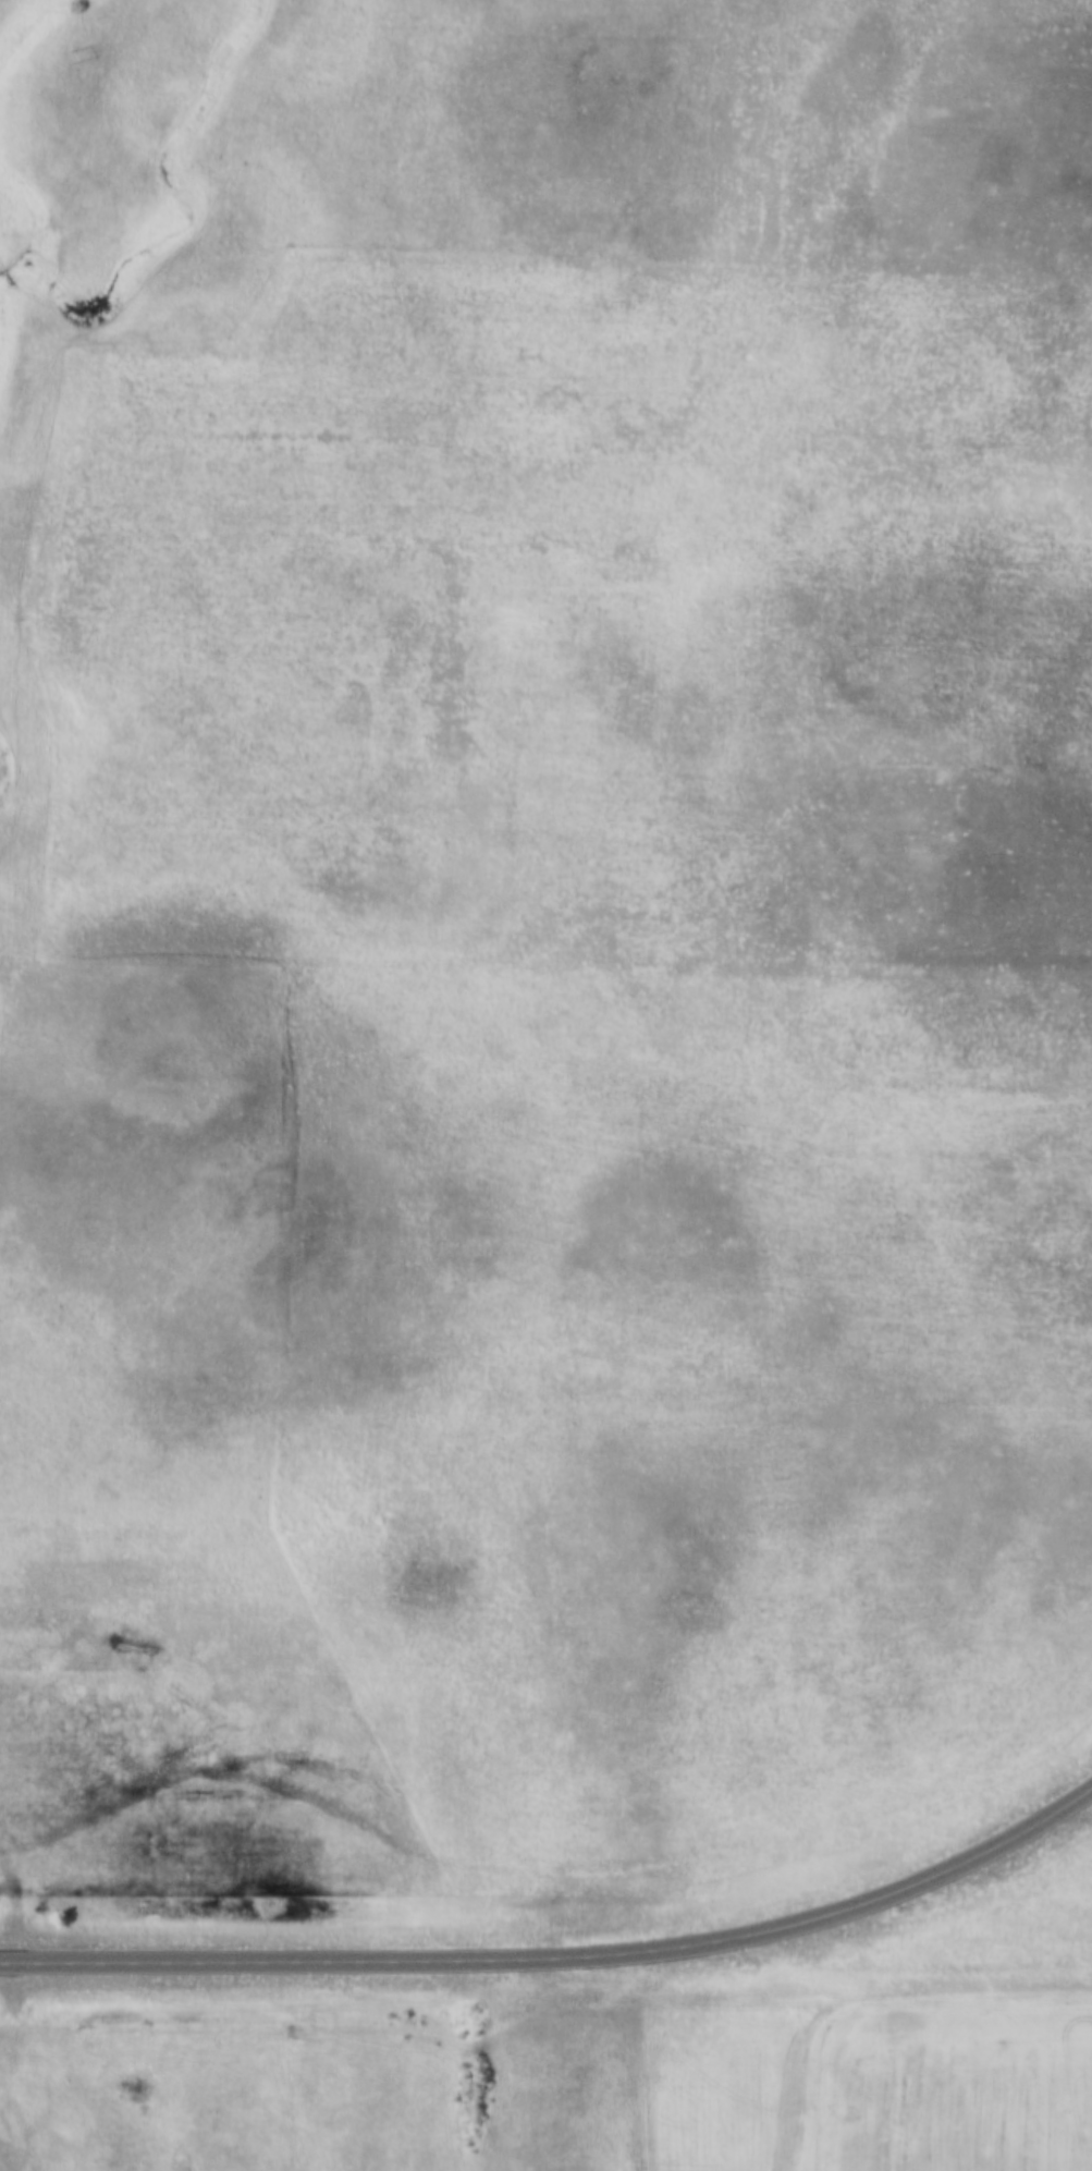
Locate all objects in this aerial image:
road: (562, 1957)

